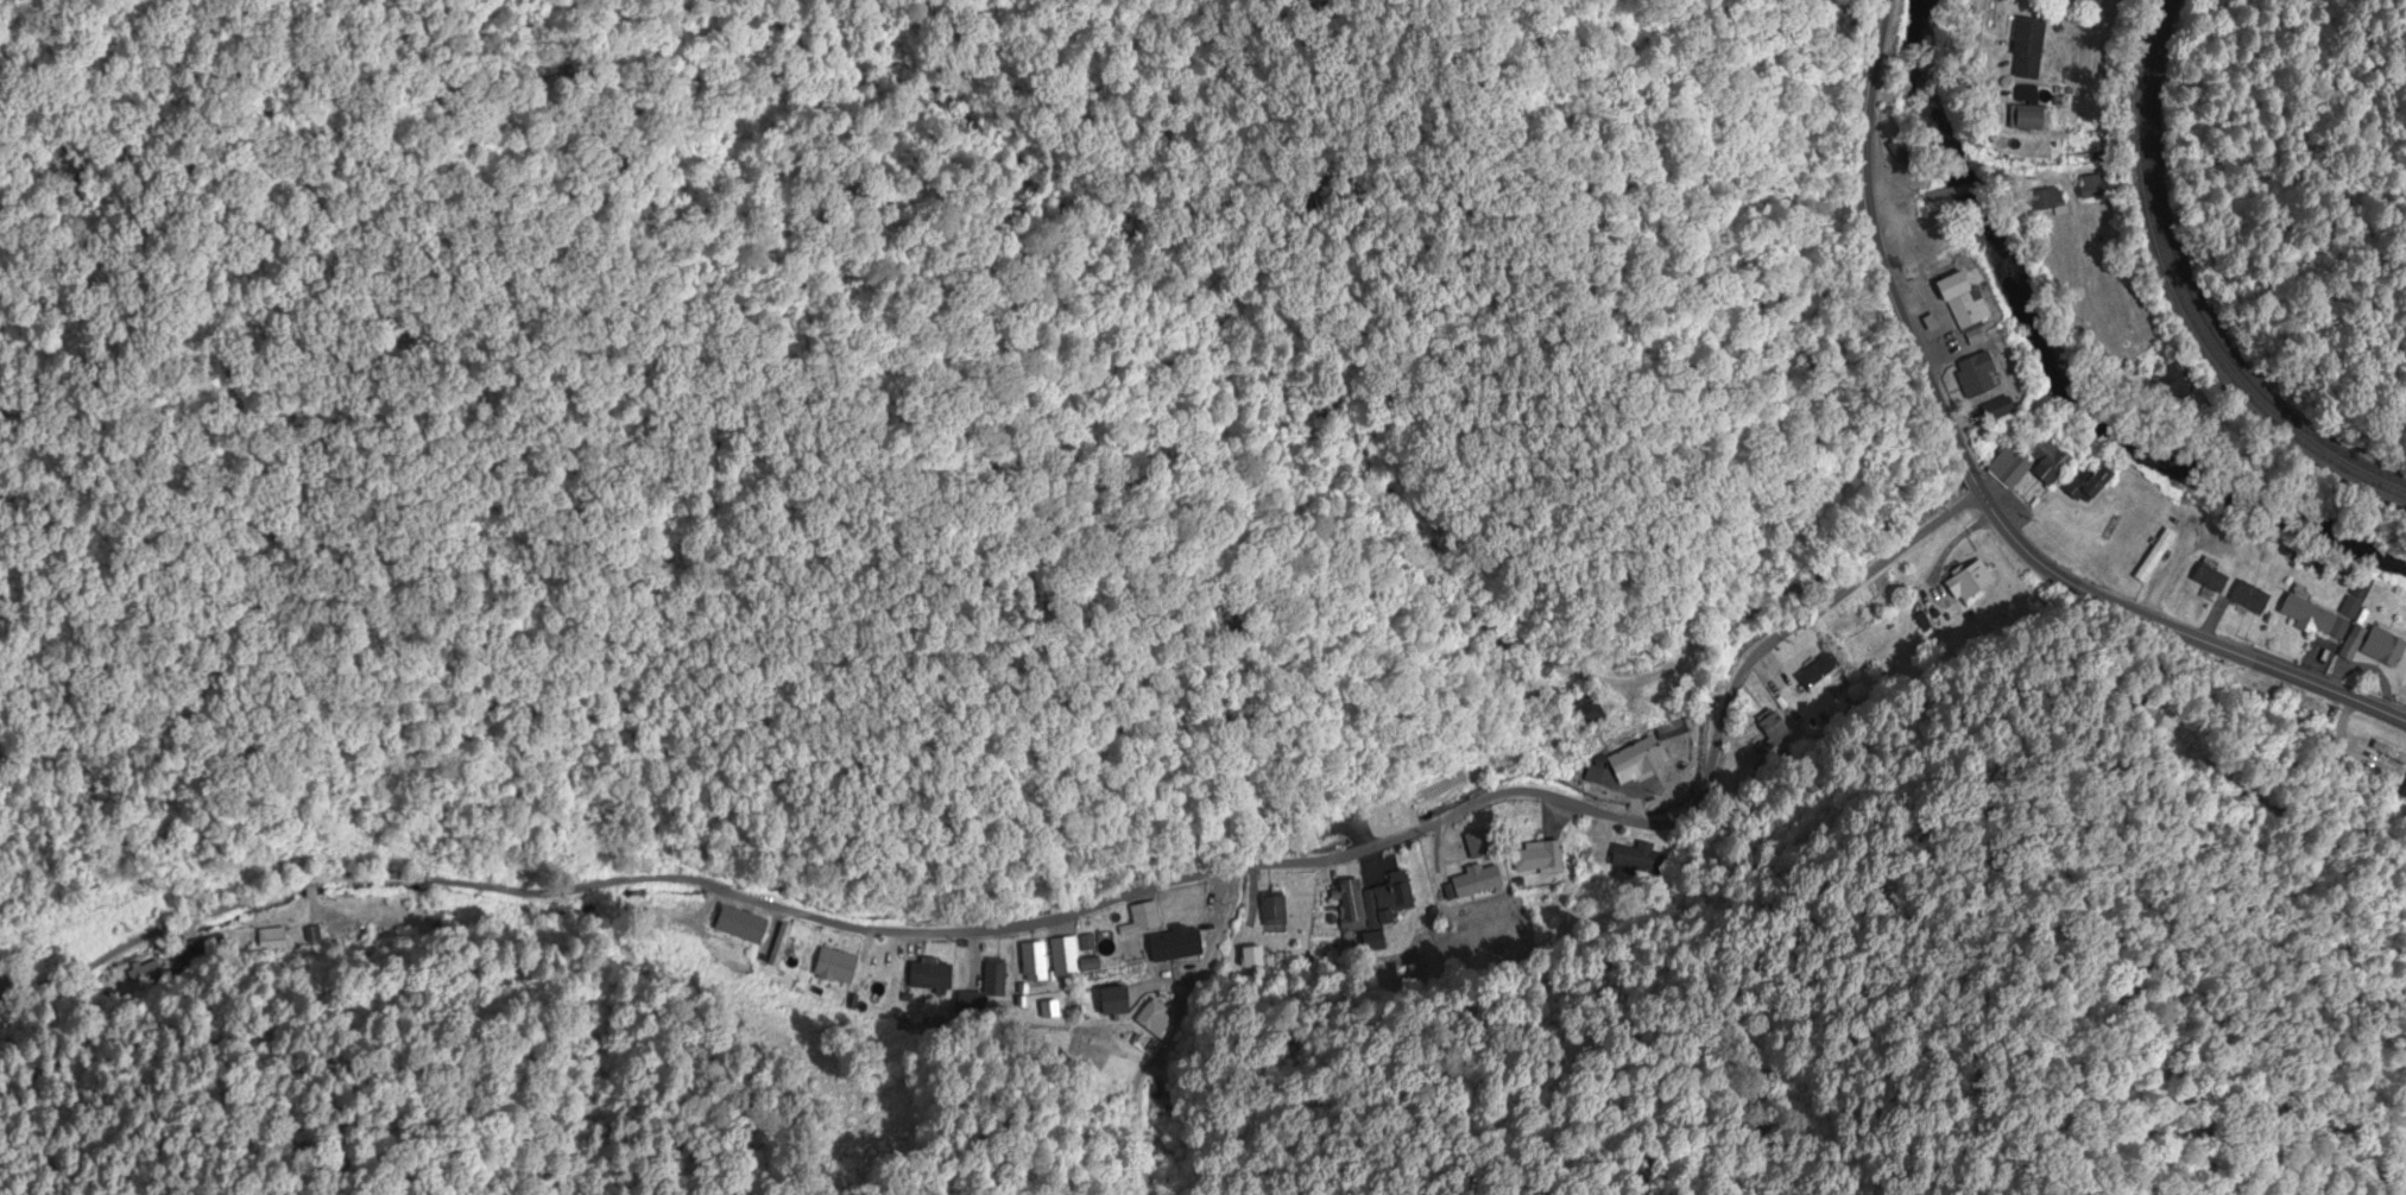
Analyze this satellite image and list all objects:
building: (2027, 44)
road: (1981, 51)
building: (2027, 118)
building: (1901, 150)
building: (2096, 188)
road: (1964, 189)
building: (2047, 201)
road: (1903, 206)
road: (2094, 260)
railway: (2181, 296)
building: (1964, 301)
building: (1976, 374)
river: (2055, 379)
building: (2175, 385)
building: (1998, 410)
building: (2009, 469)
road: (1974, 482)
building: (2086, 485)
building: (2155, 555)
building: (2212, 577)
building: (1970, 584)
building: (2249, 596)
building: (2351, 605)
building: (2312, 615)
building: (2383, 643)
building: (2269, 697)
building: (1586, 708)
building: (2389, 752)
building: (1635, 760)
building: (2404, 792)
road: (2280, 809)
building: (1318, 832)
building: (1537, 860)
building: (1633, 861)
building: (715, 871)
building: (1384, 900)
building: (1350, 905)
road: (1062, 913)
building: (1273, 915)
building: (1141, 919)
building: (740, 927)
building: (1172, 946)
building: (1063, 956)
building: (1033, 961)
building: (835, 968)
building: (139, 970)
building: (929, 978)
building: (985, 988)
building: (1116, 1000)
building: (1154, 1019)

